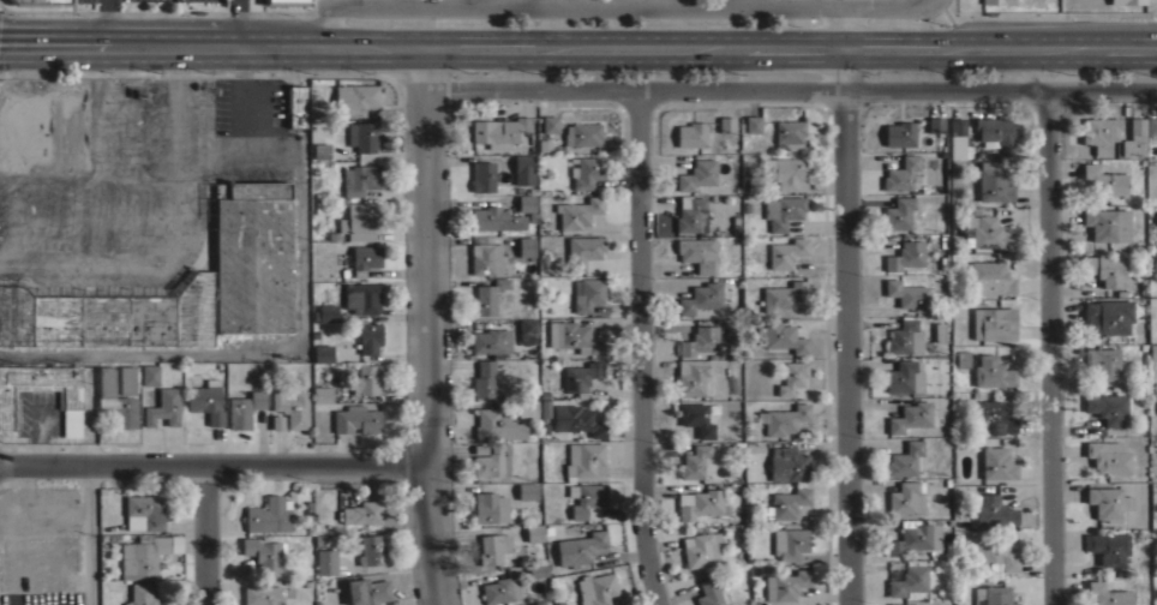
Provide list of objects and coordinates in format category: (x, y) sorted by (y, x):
building: (41, 1)
building: (997, 1)
building: (1126, 1)
building: (286, 2)
road: (550, 4)
road: (744, 4)
road: (939, 5)
road: (634, 7)
road: (107, 25)
road: (239, 25)
road: (843, 29)
road: (577, 49)
road: (793, 91)
building: (354, 98)
building: (298, 106)
building: (550, 122)
building: (726, 124)
building: (753, 124)
building: (935, 124)
building: (957, 126)
building: (1151, 126)
building: (499, 131)
building: (993, 131)
building: (1099, 132)
building: (585, 133)
building: (789, 133)
building: (899, 133)
building: (691, 134)
building: (361, 136)
building: (1134, 138)
building: (320, 150)
building: (523, 168)
building: (586, 170)
building: (785, 172)
building: (900, 173)
building: (696, 174)
building: (482, 175)
building: (359, 179)
building: (1104, 180)
building: (993, 182)
building: (526, 203)
building: (783, 210)
building: (577, 211)
building: (898, 212)
building: (689, 214)
building: (1156, 215)
building: (494, 218)
building: (361, 220)
building: (700, 220)
building: (1108, 223)
building: (987, 232)
building: (332, 235)
building: (526, 245)
building: (582, 251)
building: (697, 252)
building: (785, 252)
building: (251, 254)
building: (905, 254)
building: (487, 257)
building: (361, 258)
building: (1108, 270)
building: (990, 278)
road: (304, 289)
building: (587, 293)
building: (1155, 293)
building: (907, 294)
building: (488, 295)
building: (362, 296)
building: (701, 298)
building: (779, 298)
building: (325, 312)
building: (108, 313)
building: (1108, 316)
building: (994, 323)
building: (527, 325)
road: (433, 327)
building: (939, 330)
building: (574, 336)
building: (780, 336)
building: (904, 336)
building: (368, 337)
building: (700, 340)
building: (488, 341)
road: (637, 348)
road: (846, 348)
road: (1049, 348)
building: (1152, 351)
building: (323, 353)
building: (963, 358)
building: (1103, 363)
building: (991, 372)
building: (149, 375)
building: (581, 377)
building: (693, 377)
building: (792, 377)
building: (904, 377)
building: (366, 378)
building: (486, 378)
building: (127, 379)
building: (322, 394)
building: (70, 399)
building: (115, 400)
building: (206, 400)
building: (160, 405)
building: (292, 407)
building: (1108, 407)
building: (244, 408)
building: (527, 408)
building: (544, 409)
building: (911, 417)
building: (696, 418)
building: (783, 418)
building: (991, 418)
building: (356, 419)
building: (577, 419)
building: (277, 423)
building: (497, 425)
building: (943, 443)
building: (480, 449)
building: (1108, 456)
building: (904, 459)
building: (583, 460)
building: (492, 461)
building: (694, 462)
building: (787, 462)
building: (996, 463)
road: (217, 469)
building: (527, 491)
building: (586, 498)
building: (906, 498)
building: (786, 502)
building: (1108, 502)
building: (699, 503)
building: (490, 507)
building: (144, 511)
building: (994, 511)
building: (361, 513)
building: (269, 515)
building: (534, 532)
road: (88, 537)
road: (203, 537)
building: (917, 538)
building: (789, 543)
building: (493, 547)
building: (1109, 547)
building: (372, 549)
building: (580, 549)
building: (700, 549)
building: (264, 553)
building: (142, 555)
building: (995, 555)
building: (325, 561)
building: (536, 569)
building: (909, 580)
building: (785, 585)
building: (595, 588)
building: (500, 589)
building: (367, 591)
building: (708, 592)
building: (266, 593)
building: (1107, 593)
building: (142, 594)
building: (991, 595)
building: (532, 603)
building: (905, 604)

